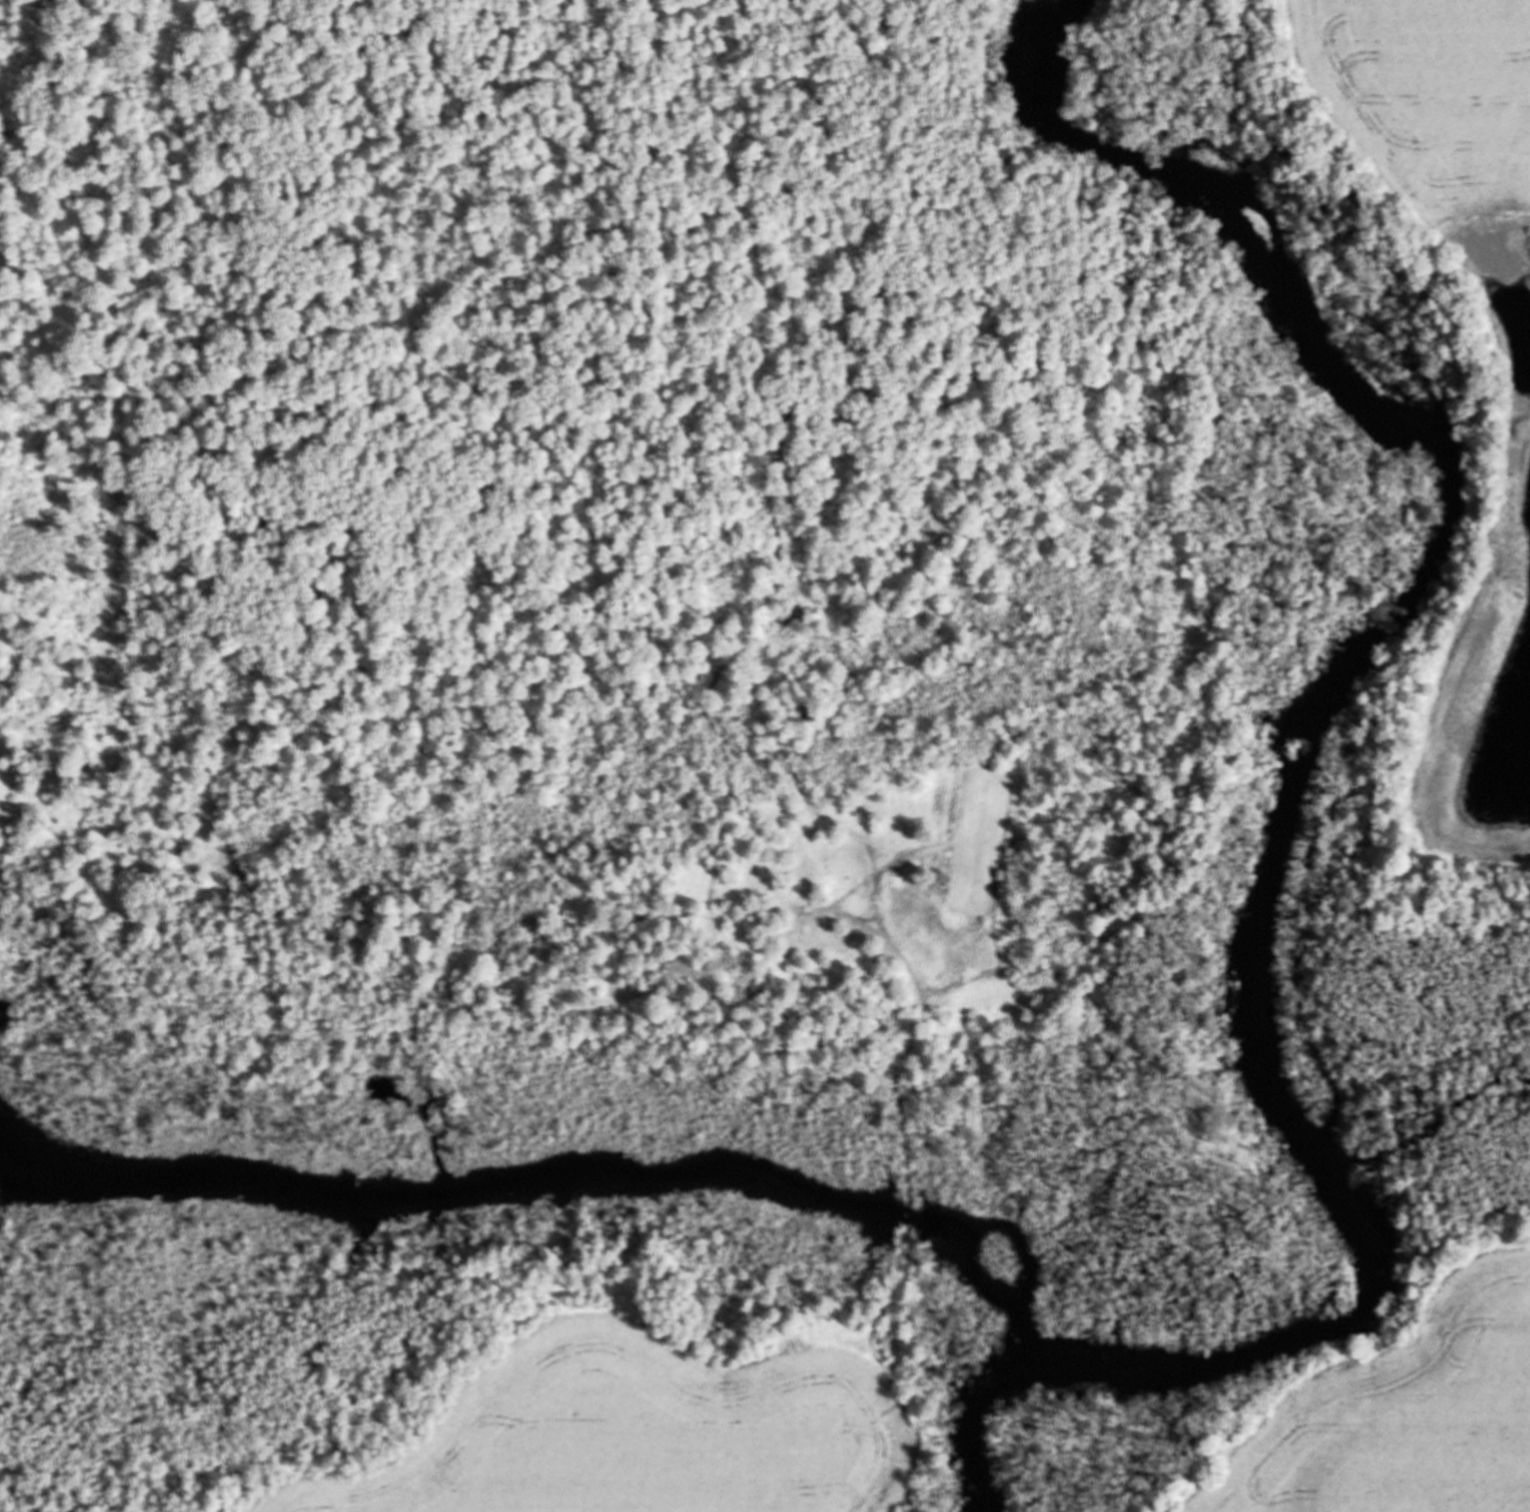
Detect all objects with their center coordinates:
quarry: (828, 756)
river: (1289, 796)

